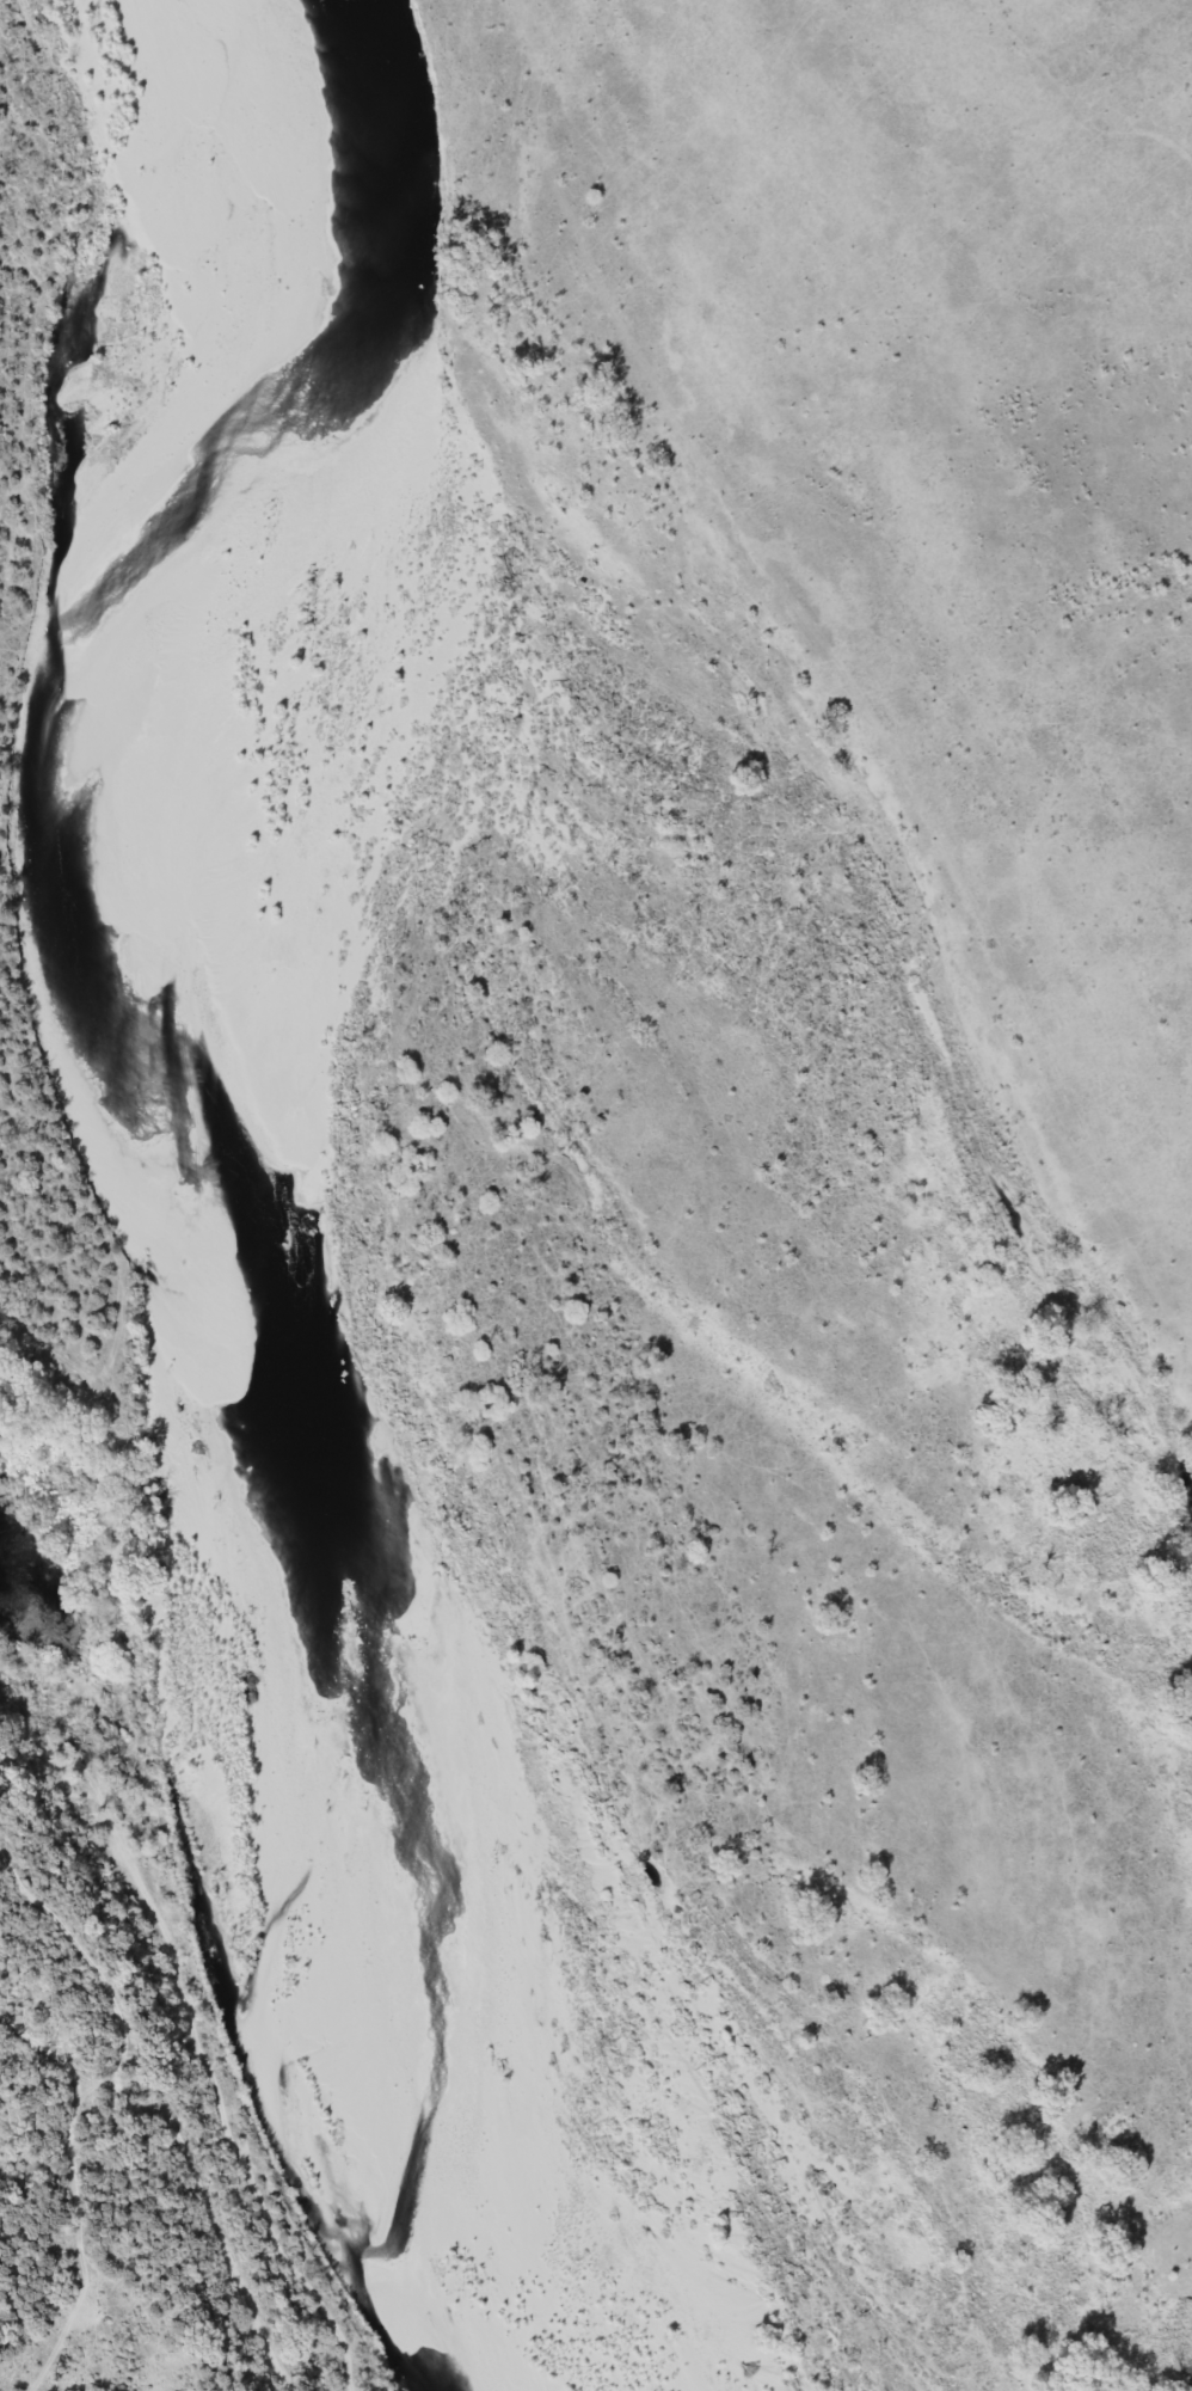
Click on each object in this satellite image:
road: (858, 652)
river: (211, 1307)

